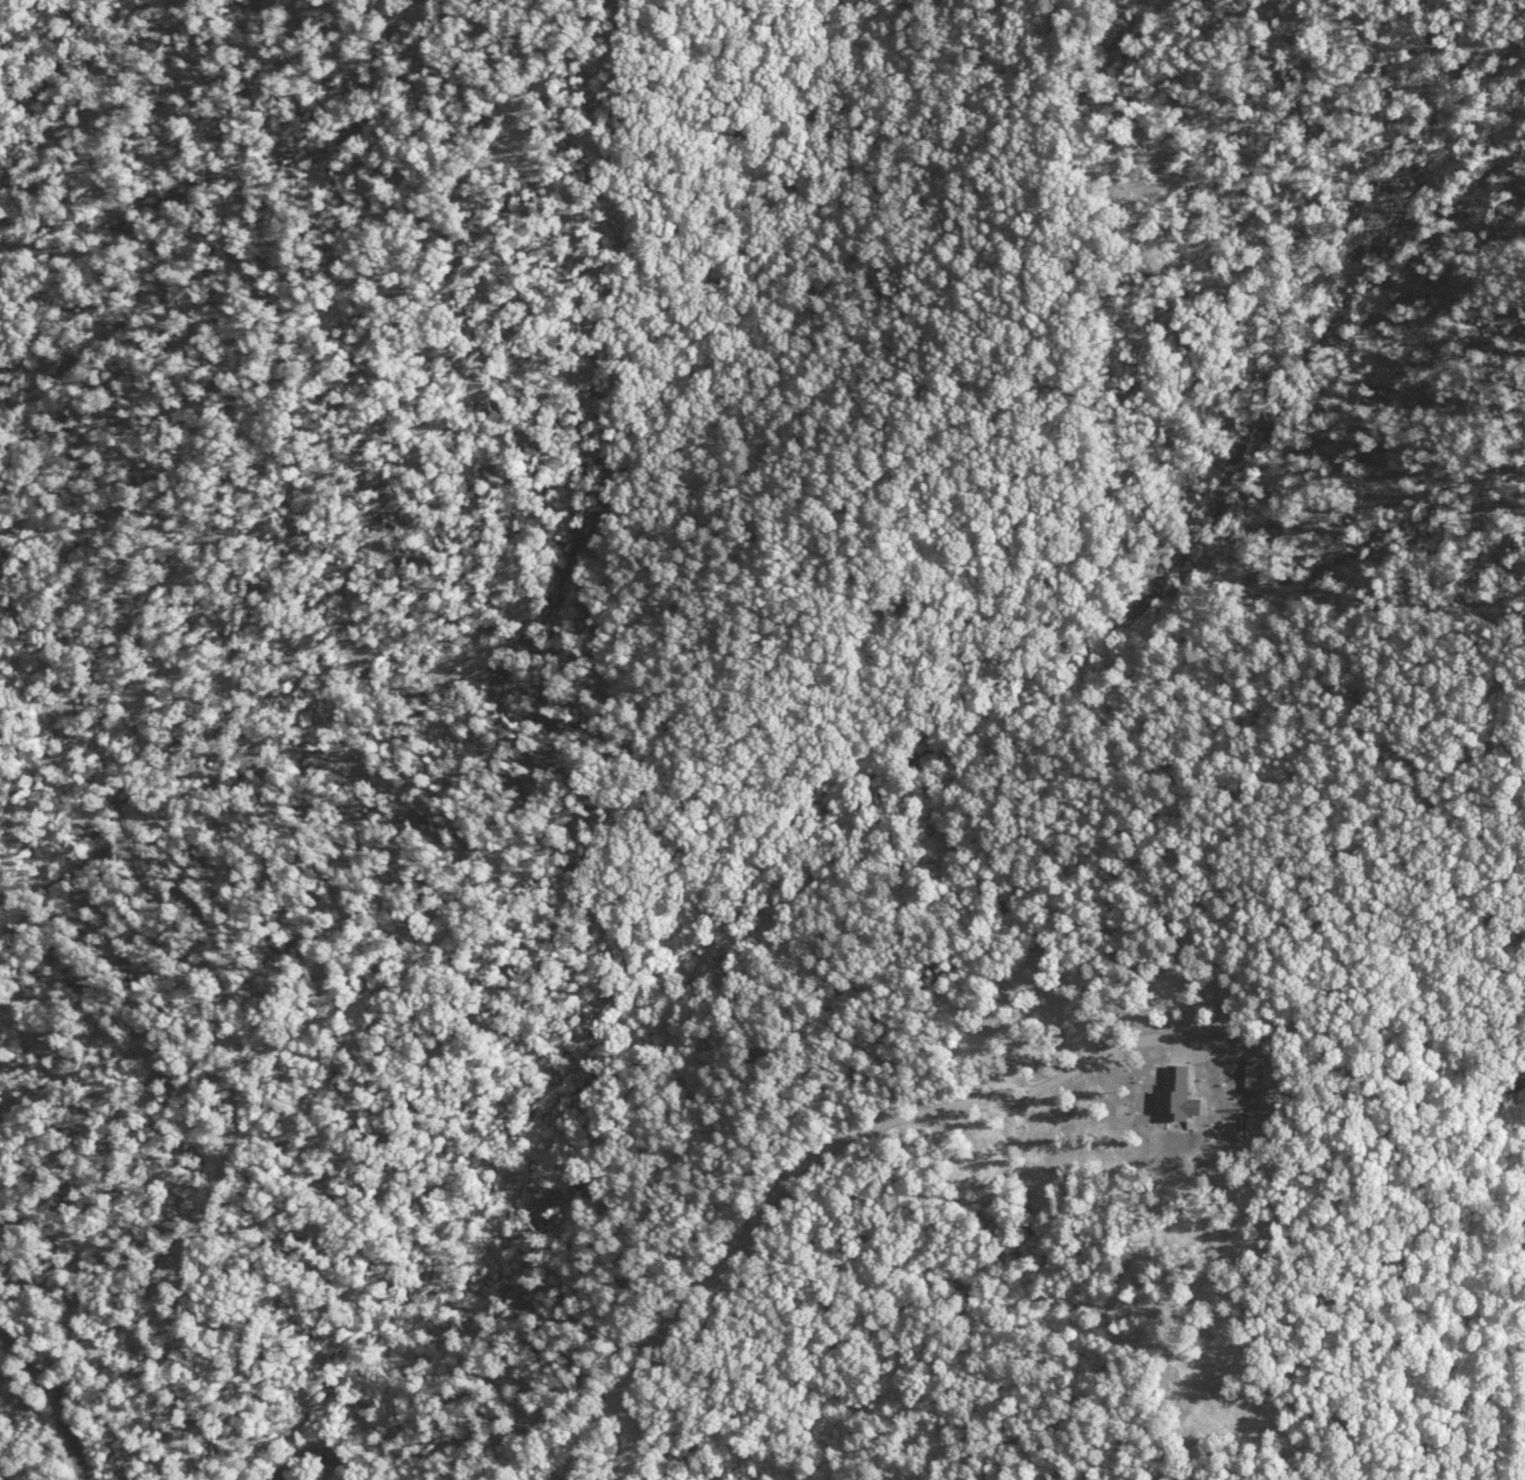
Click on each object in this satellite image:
road: (50, 1400)
road: (299, 1455)

